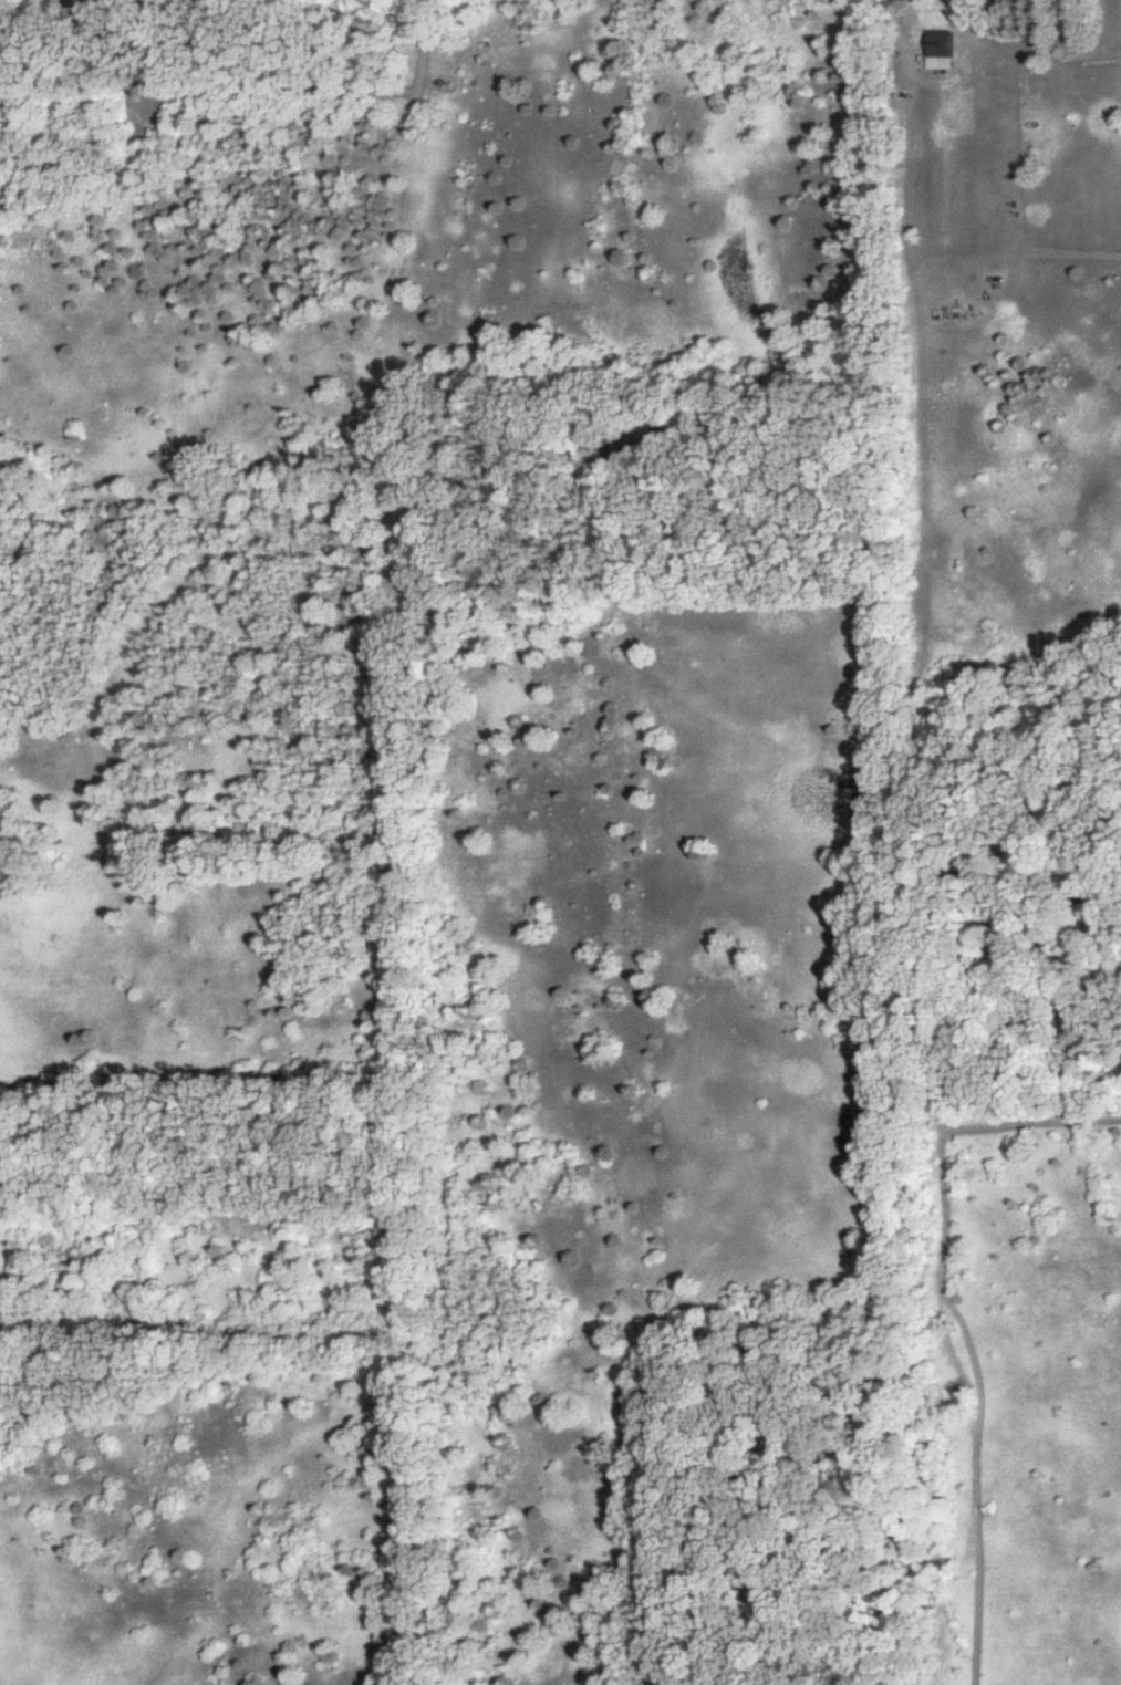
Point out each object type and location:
road: (958, 12)
building: (938, 52)

